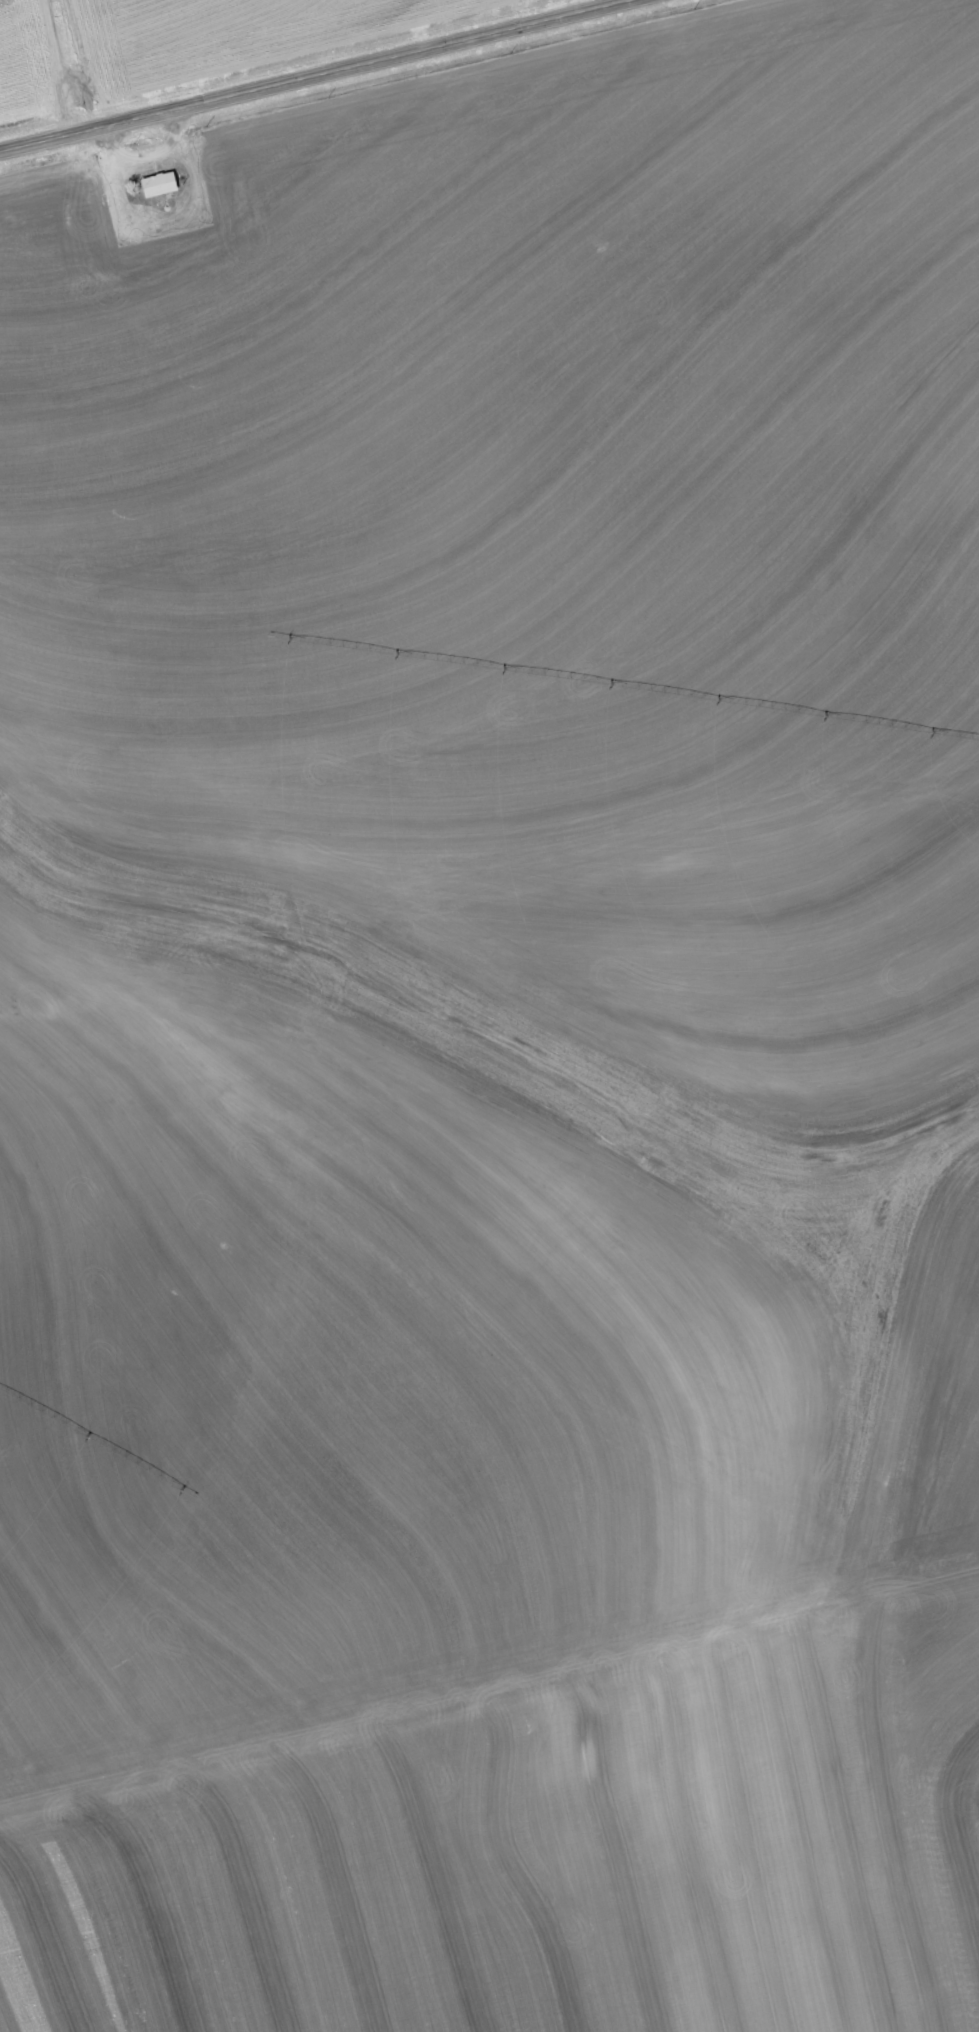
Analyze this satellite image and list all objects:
road: (306, 73)
road: (312, 1761)

